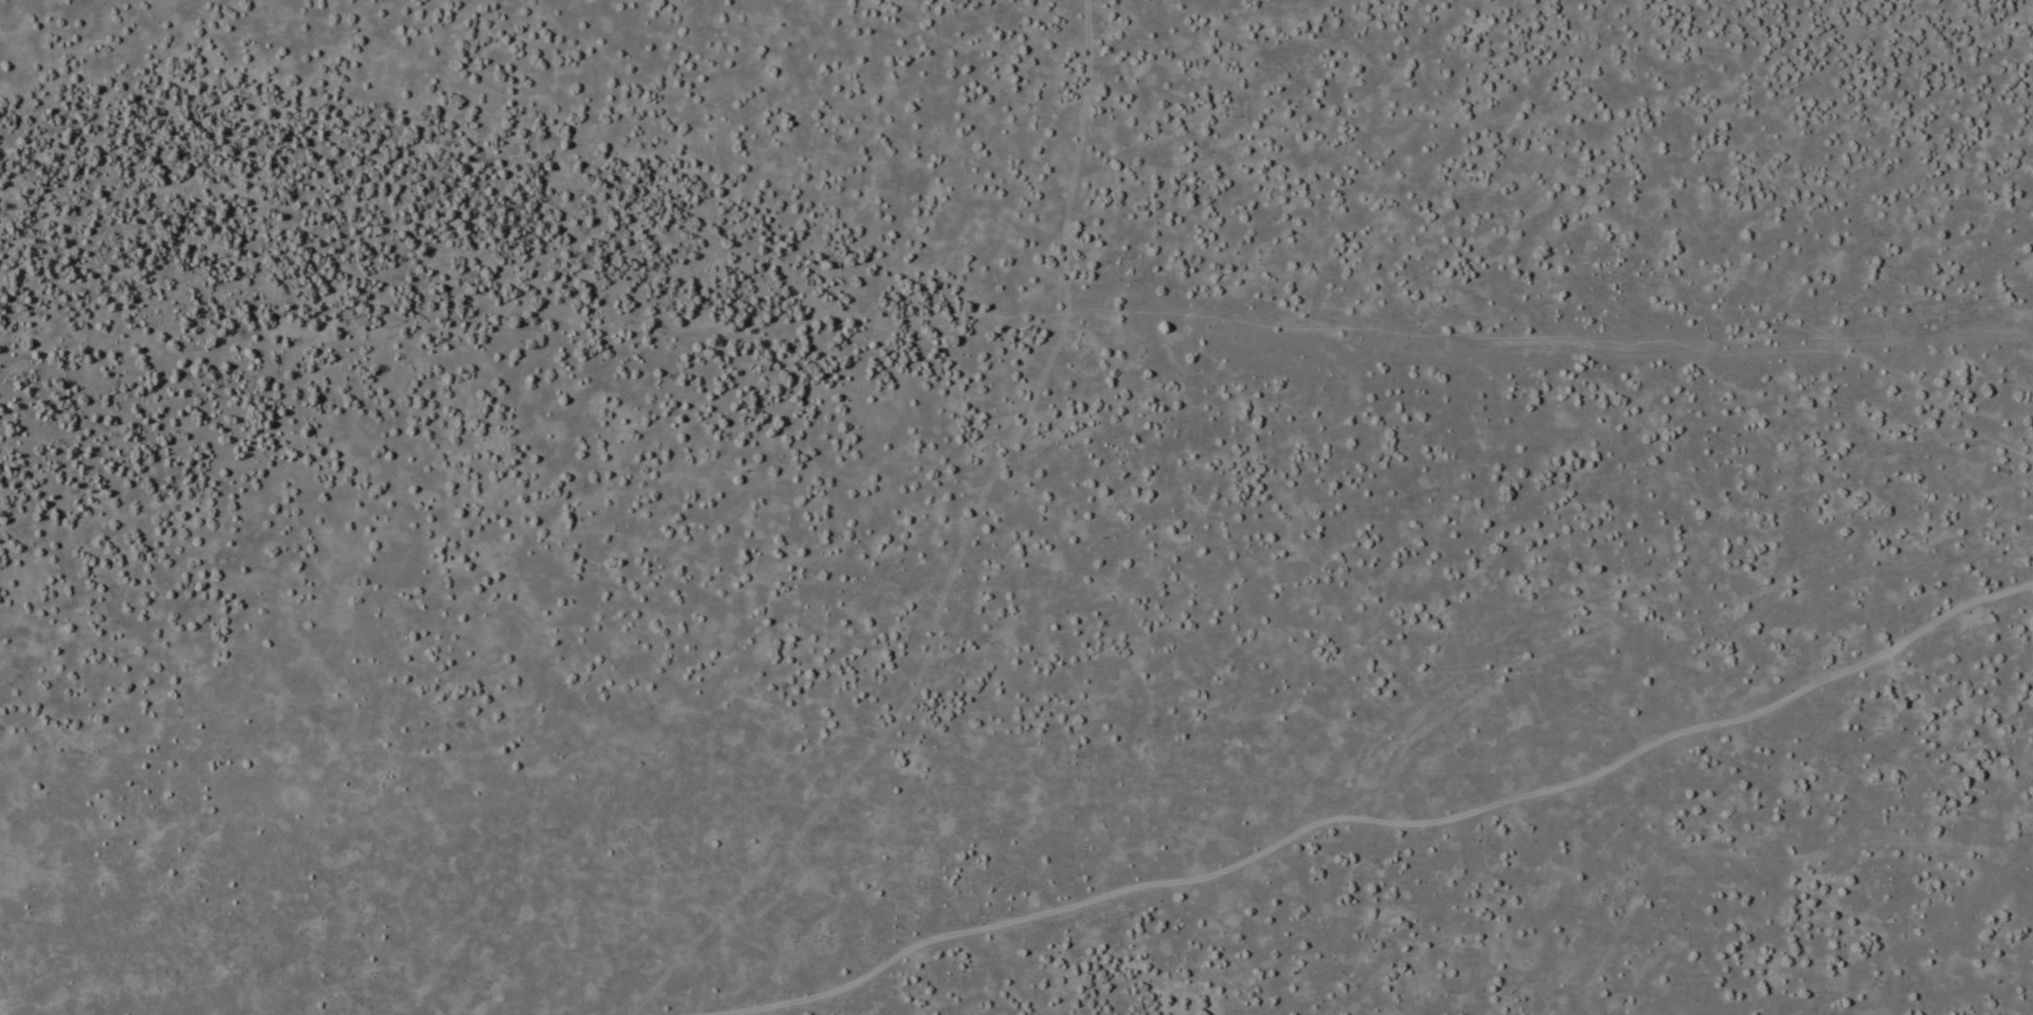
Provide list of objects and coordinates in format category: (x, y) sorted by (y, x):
road: (1755, 827)

